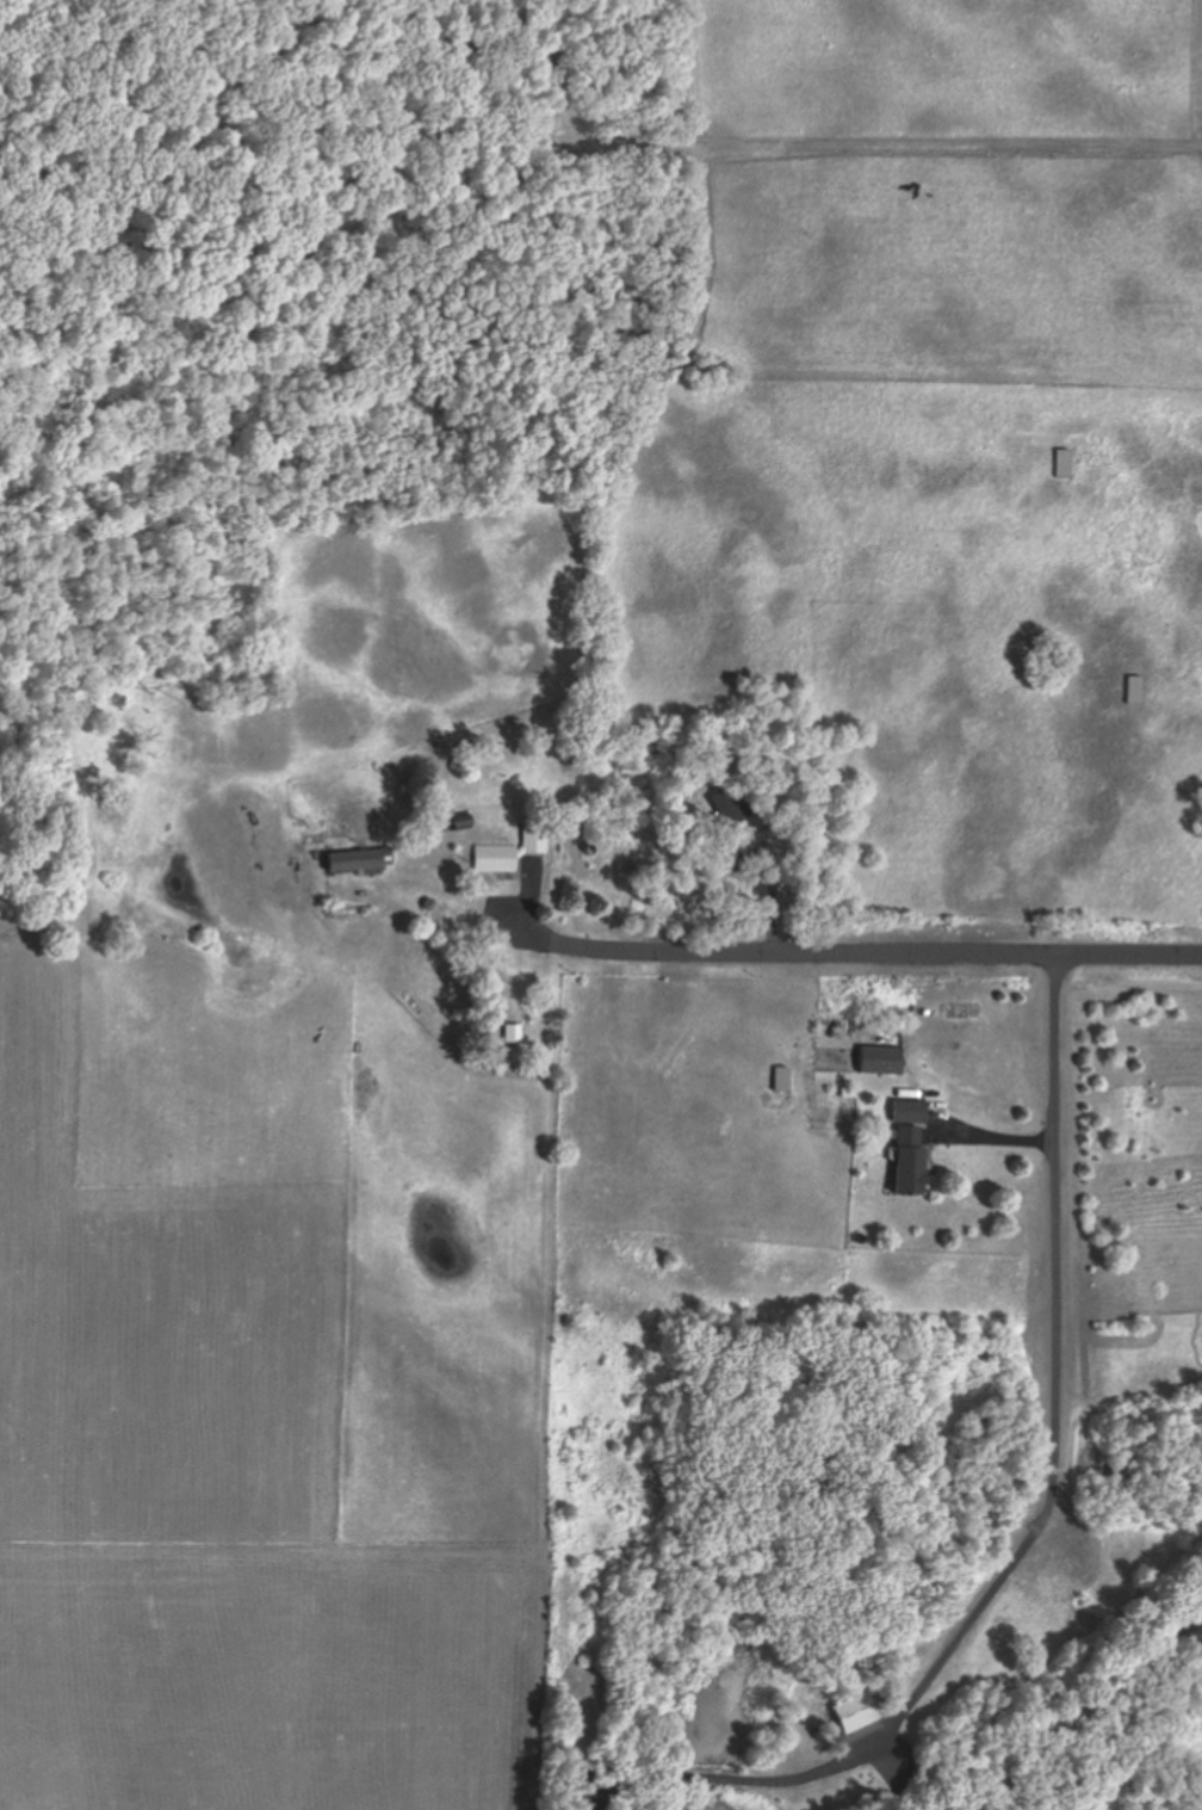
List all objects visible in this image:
building: (1059, 464)
building: (1130, 691)
building: (730, 807)
building: (459, 824)
building: (512, 852)
building: (732, 858)
building: (358, 861)
road: (899, 945)
building: (512, 1034)
building: (880, 1062)
building: (781, 1081)
building: (907, 1113)
building: (907, 1162)
road: (1051, 1230)
crop: (278, 1355)
road: (1088, 1713)
building: (855, 1715)

